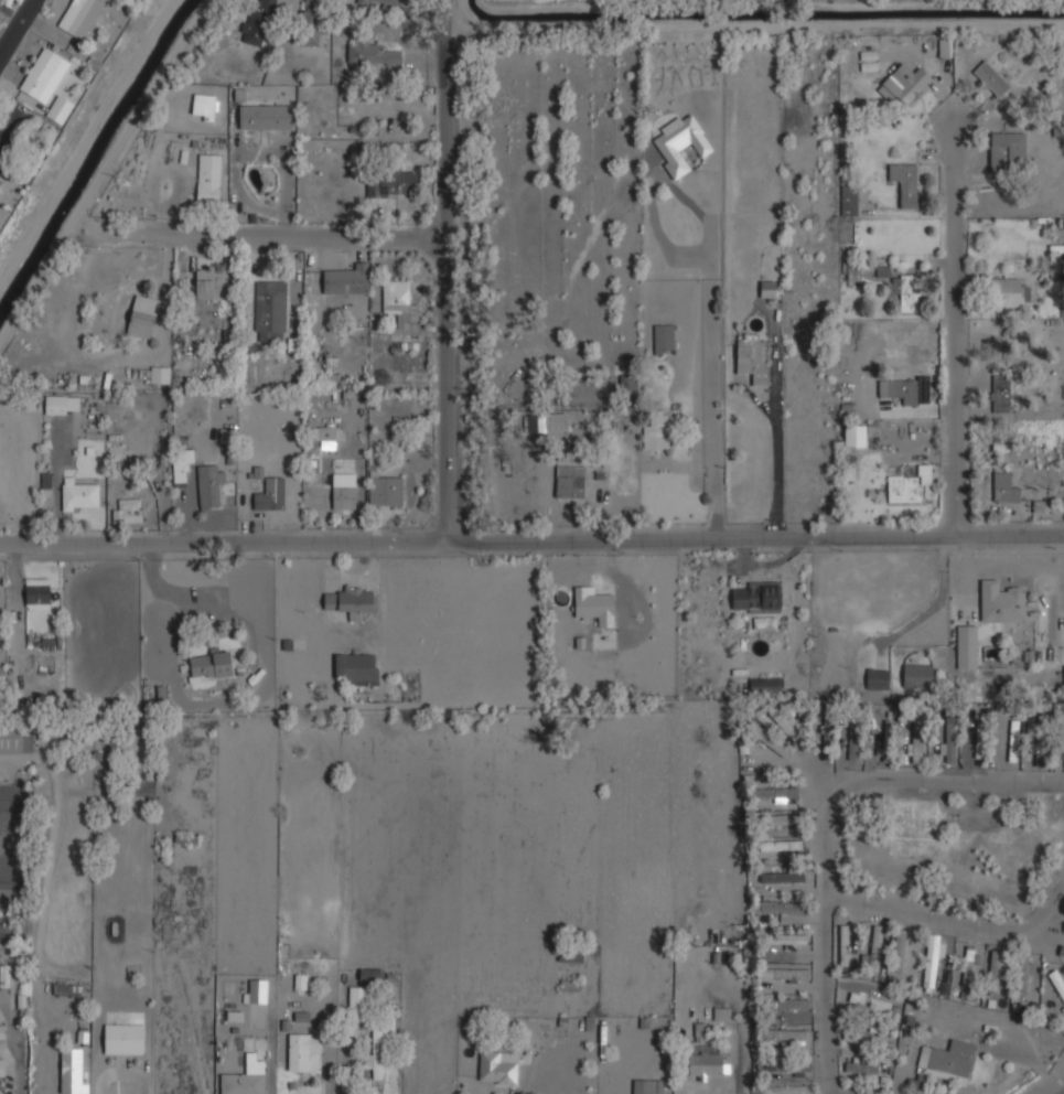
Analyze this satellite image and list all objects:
building: (364, 2)
building: (387, 2)
building: (79, 17)
building: (257, 22)
building: (309, 24)
road: (23, 37)
building: (374, 54)
building: (44, 74)
building: (991, 78)
building: (904, 84)
building: (206, 106)
building: (60, 108)
building: (264, 115)
building: (12, 127)
building: (680, 143)
building: (1006, 149)
building: (208, 179)
building: (905, 182)
building: (391, 183)
building: (657, 203)
building: (851, 204)
road: (282, 230)
road: (453, 271)
building: (855, 273)
building: (347, 280)
building: (212, 283)
building: (769, 288)
building: (906, 291)
building: (1009, 292)
building: (398, 302)
building: (271, 305)
building: (142, 315)
building: (104, 322)
road: (963, 333)
building: (665, 337)
building: (752, 357)
building: (151, 374)
building: (904, 389)
building: (628, 392)
building: (1000, 394)
building: (63, 404)
building: (536, 422)
building: (657, 431)
building: (325, 433)
building: (856, 436)
building: (120, 452)
building: (181, 464)
building: (570, 481)
building: (907, 484)
building: (211, 486)
building: (1004, 486)
building: (385, 487)
building: (80, 493)
building: (270, 494)
building: (344, 497)
building: (128, 510)
road: (531, 543)
building: (37, 593)
building: (759, 597)
building: (348, 600)
building: (1001, 601)
building: (595, 605)
building: (967, 646)
building: (209, 665)
building: (357, 667)
building: (1063, 668)
building: (918, 675)
building: (878, 678)
building: (766, 685)
building: (803, 712)
building: (783, 721)
building: (828, 731)
building: (855, 737)
building: (916, 737)
building: (17, 739)
building: (769, 739)
building: (888, 740)
building: (949, 740)
building: (1014, 741)
building: (1043, 741)
building: (980, 742)
building: (777, 792)
building: (1061, 801)
road: (826, 817)
building: (777, 819)
building: (781, 844)
building: (782, 876)
building: (781, 907)
road: (954, 924)
building: (786, 939)
building: (846, 945)
building: (875, 947)
building: (1062, 951)
building: (900, 952)
building: (571, 955)
building: (933, 958)
building: (972, 966)
building: (996, 967)
building: (784, 973)
building: (1023, 974)
building: (6, 975)
building: (372, 976)
building: (1057, 982)
building: (570, 985)
building: (66, 989)
building: (257, 990)
building: (358, 1001)
building: (869, 1001)
building: (791, 1004)
building: (721, 1013)
building: (2, 1031)
building: (785, 1034)
building: (123, 1038)
building: (864, 1038)
building: (302, 1049)
building: (378, 1053)
building: (948, 1059)
building: (860, 1062)
building: (707, 1064)
building: (1, 1065)
building: (793, 1066)
building: (498, 1068)
building: (72, 1071)
building: (246, 1077)
building: (643, 1086)
road: (1061, 1091)
building: (789, 1092)

